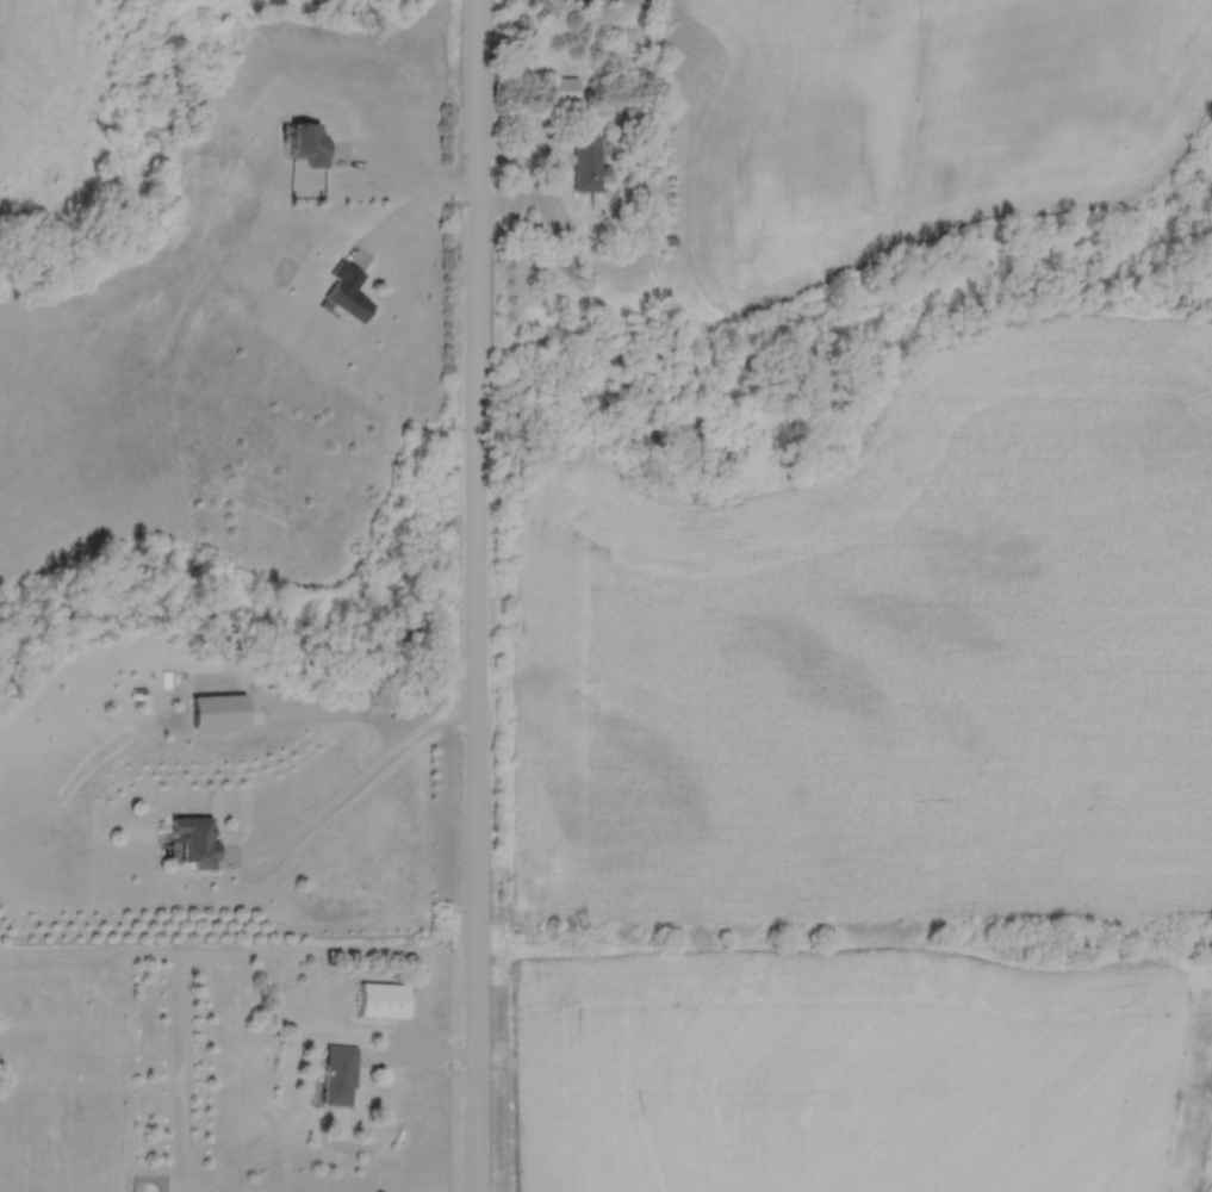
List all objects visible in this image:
building: (564, 89)
building: (307, 143)
building: (588, 164)
road: (405, 169)
road: (393, 219)
building: (347, 292)
road: (477, 596)
road: (359, 755)
building: (185, 839)
building: (375, 999)
building: (330, 1075)

